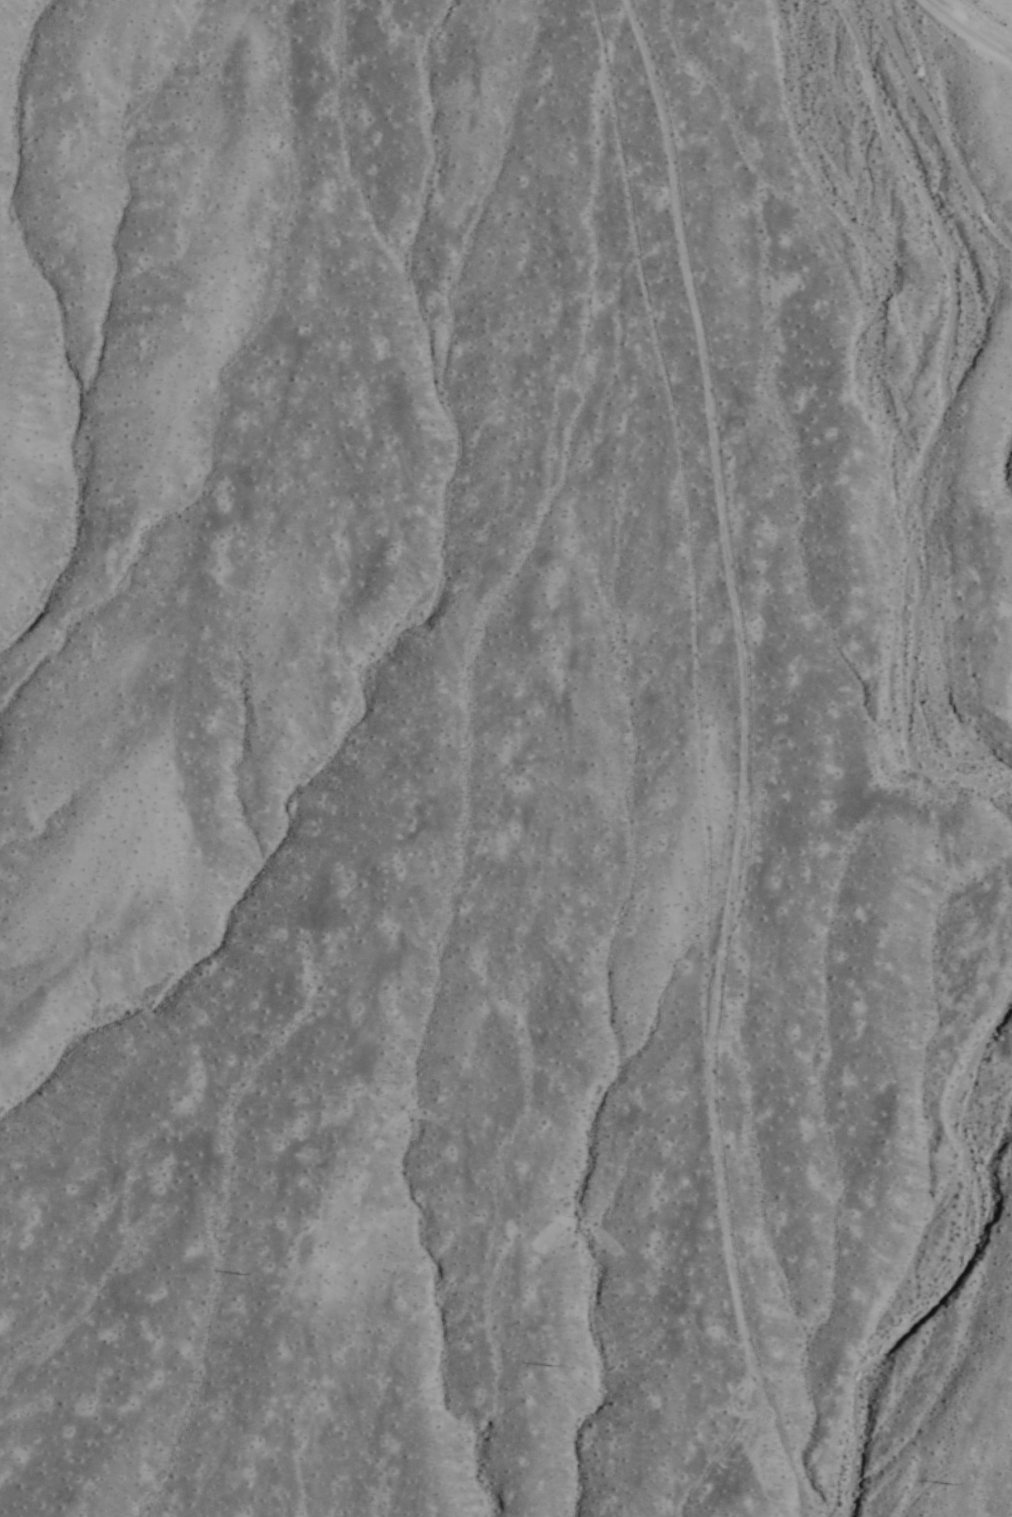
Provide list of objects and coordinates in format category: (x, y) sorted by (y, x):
road: (980, 20)

